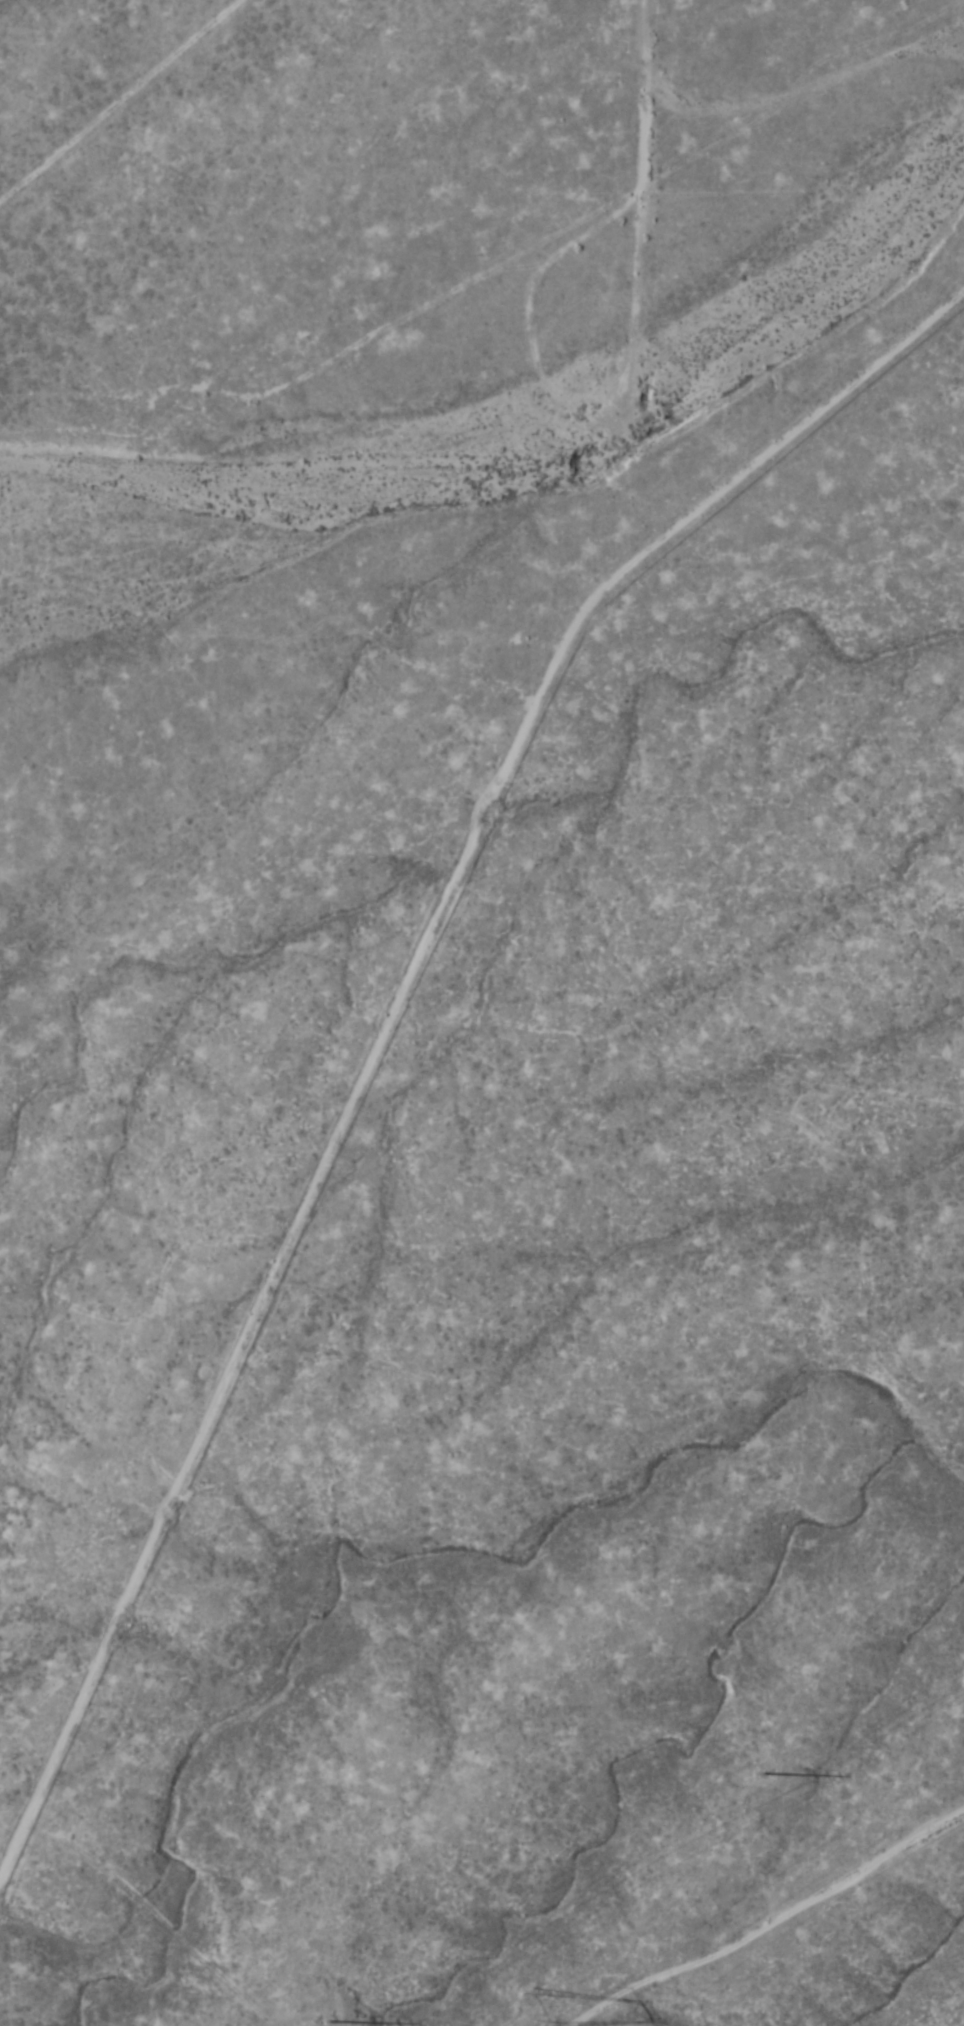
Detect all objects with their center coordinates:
road: (118, 100)
road: (386, 1093)
power tower: (768, 1779)
power tower: (538, 2013)
power tower: (341, 2025)

